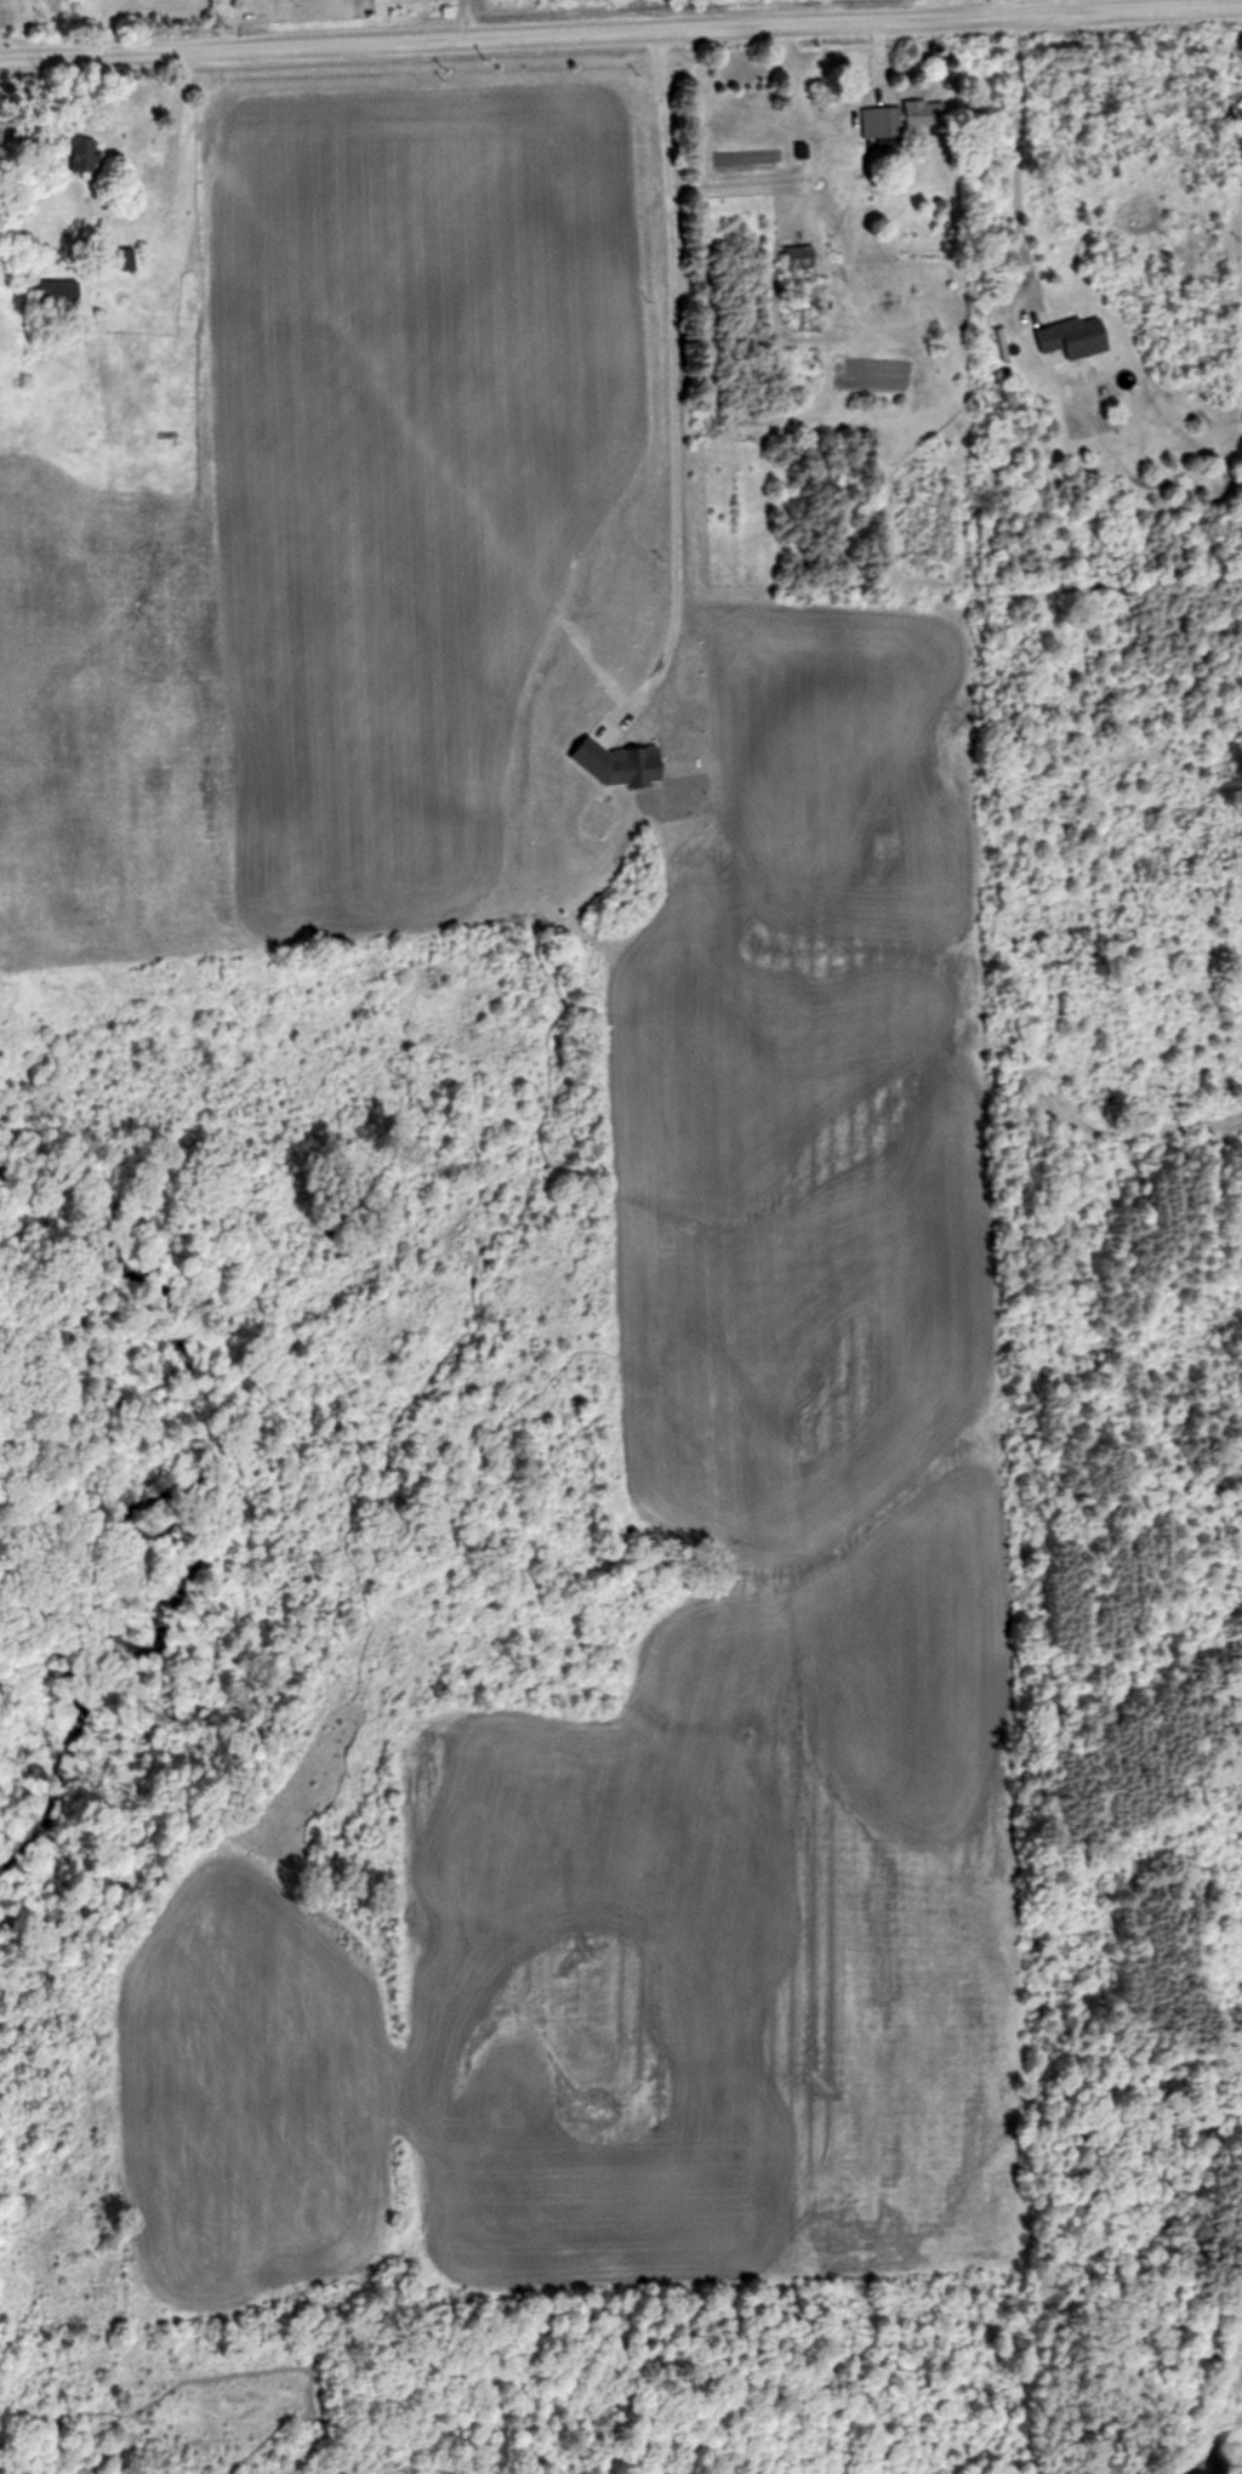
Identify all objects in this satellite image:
road: (227, 27)
road: (621, 36)
building: (1231, 95)
building: (899, 121)
building: (85, 157)
road: (1012, 164)
building: (801, 256)
building: (58, 294)
building: (1076, 337)

